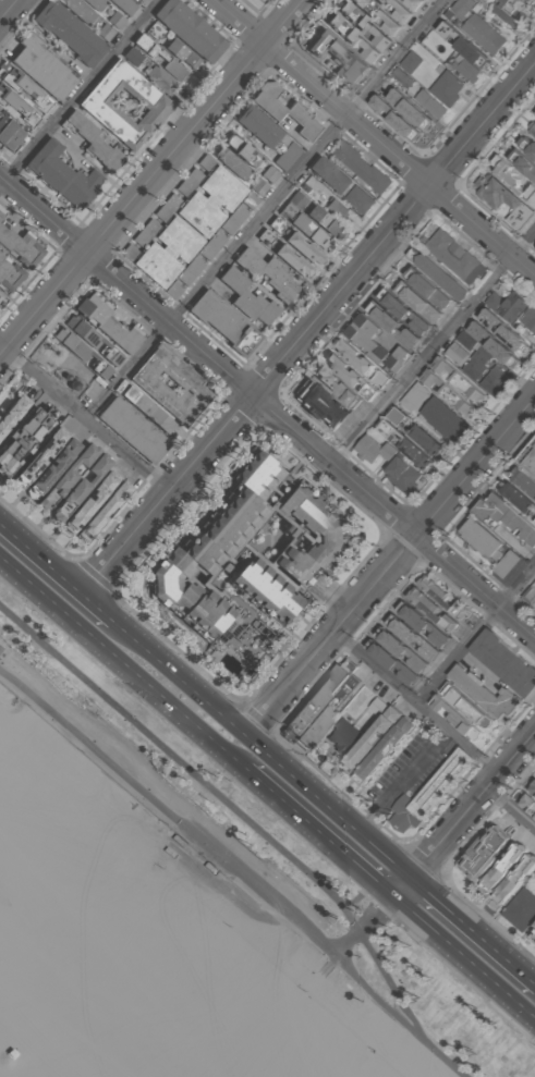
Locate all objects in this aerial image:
building: (424, 0)
building: (481, 0)
building: (532, 2)
building: (97, 3)
building: (413, 4)
building: (123, 5)
building: (463, 7)
road: (8, 9)
building: (81, 10)
building: (509, 12)
building: (401, 13)
building: (375, 16)
building: (362, 26)
building: (186, 28)
building: (106, 29)
building: (70, 32)
building: (485, 33)
building: (350, 39)
building: (463, 47)
building: (183, 53)
building: (135, 54)
building: (159, 56)
building: (412, 61)
building: (41, 66)
building: (465, 69)
building: (400, 75)
building: (159, 77)
building: (448, 88)
building: (28, 89)
road: (80, 93)
building: (124, 105)
building: (435, 107)
building: (17, 109)
building: (285, 113)
building: (403, 113)
building: (534, 113)
building: (532, 128)
building: (10, 137)
building: (269, 137)
road: (374, 138)
building: (95, 143)
building: (526, 147)
building: (243, 149)
building: (232, 161)
building: (205, 162)
building: (522, 164)
building: (361, 168)
building: (270, 173)
building: (61, 174)
building: (329, 174)
road: (150, 176)
building: (510, 178)
building: (189, 183)
building: (259, 186)
building: (221, 189)
building: (250, 200)
building: (358, 200)
building: (500, 201)
building: (166, 208)
building: (336, 208)
road: (266, 210)
building: (313, 213)
building: (198, 216)
building: (232, 221)
building: (309, 228)
building: (144, 233)
building: (178, 240)
building: (210, 246)
building: (16, 247)
building: (305, 247)
building: (129, 253)
building: (454, 257)
building: (294, 260)
building: (154, 267)
building: (189, 272)
building: (7, 274)
building: (267, 274)
building: (437, 274)
building: (424, 287)
building: (172, 292)
building: (0, 298)
building: (411, 298)
building: (246, 299)
building: (510, 304)
building: (406, 311)
building: (528, 319)
building: (220, 321)
building: (396, 325)
road: (312, 326)
building: (107, 327)
building: (502, 333)
building: (464, 341)
building: (92, 342)
building: (372, 344)
building: (493, 345)
road: (434, 347)
building: (455, 353)
building: (81, 355)
building: (475, 363)
building: (361, 364)
building: (349, 377)
building: (495, 381)
building: (170, 384)
building: (462, 385)
building: (335, 387)
building: (413, 396)
building: (454, 397)
building: (318, 405)
road: (267, 406)
building: (146, 409)
building: (12, 412)
road: (85, 419)
building: (445, 420)
building: (133, 430)
building: (416, 433)
building: (22, 441)
building: (404, 445)
building: (372, 450)
building: (39, 457)
building: (527, 458)
building: (53, 468)
building: (400, 476)
building: (66, 477)
building: (523, 481)
building: (81, 486)
building: (518, 499)
building: (89, 503)
building: (102, 513)
building: (502, 516)
building: (478, 539)
road: (60, 561)
building: (211, 561)
road: (392, 562)
building: (291, 563)
building: (504, 564)
building: (440, 598)
building: (431, 610)
building: (423, 625)
road: (476, 634)
building: (411, 637)
building: (400, 650)
building: (3, 652)
road: (122, 661)
building: (390, 662)
building: (503, 663)
building: (486, 694)
building: (315, 700)
road: (416, 702)
building: (378, 706)
building: (472, 709)
building: (328, 710)
building: (460, 722)
building: (342, 738)
road: (266, 741)
building: (378, 744)
building: (532, 787)
building: (430, 792)
building: (528, 804)
road: (510, 809)
road: (463, 812)
road: (251, 824)
road: (319, 831)
road: (214, 848)
building: (485, 849)
building: (503, 868)
building: (515, 879)
building: (521, 910)
road: (473, 928)
building: (533, 932)
road: (344, 939)
road: (464, 956)
building: (38, 1021)

